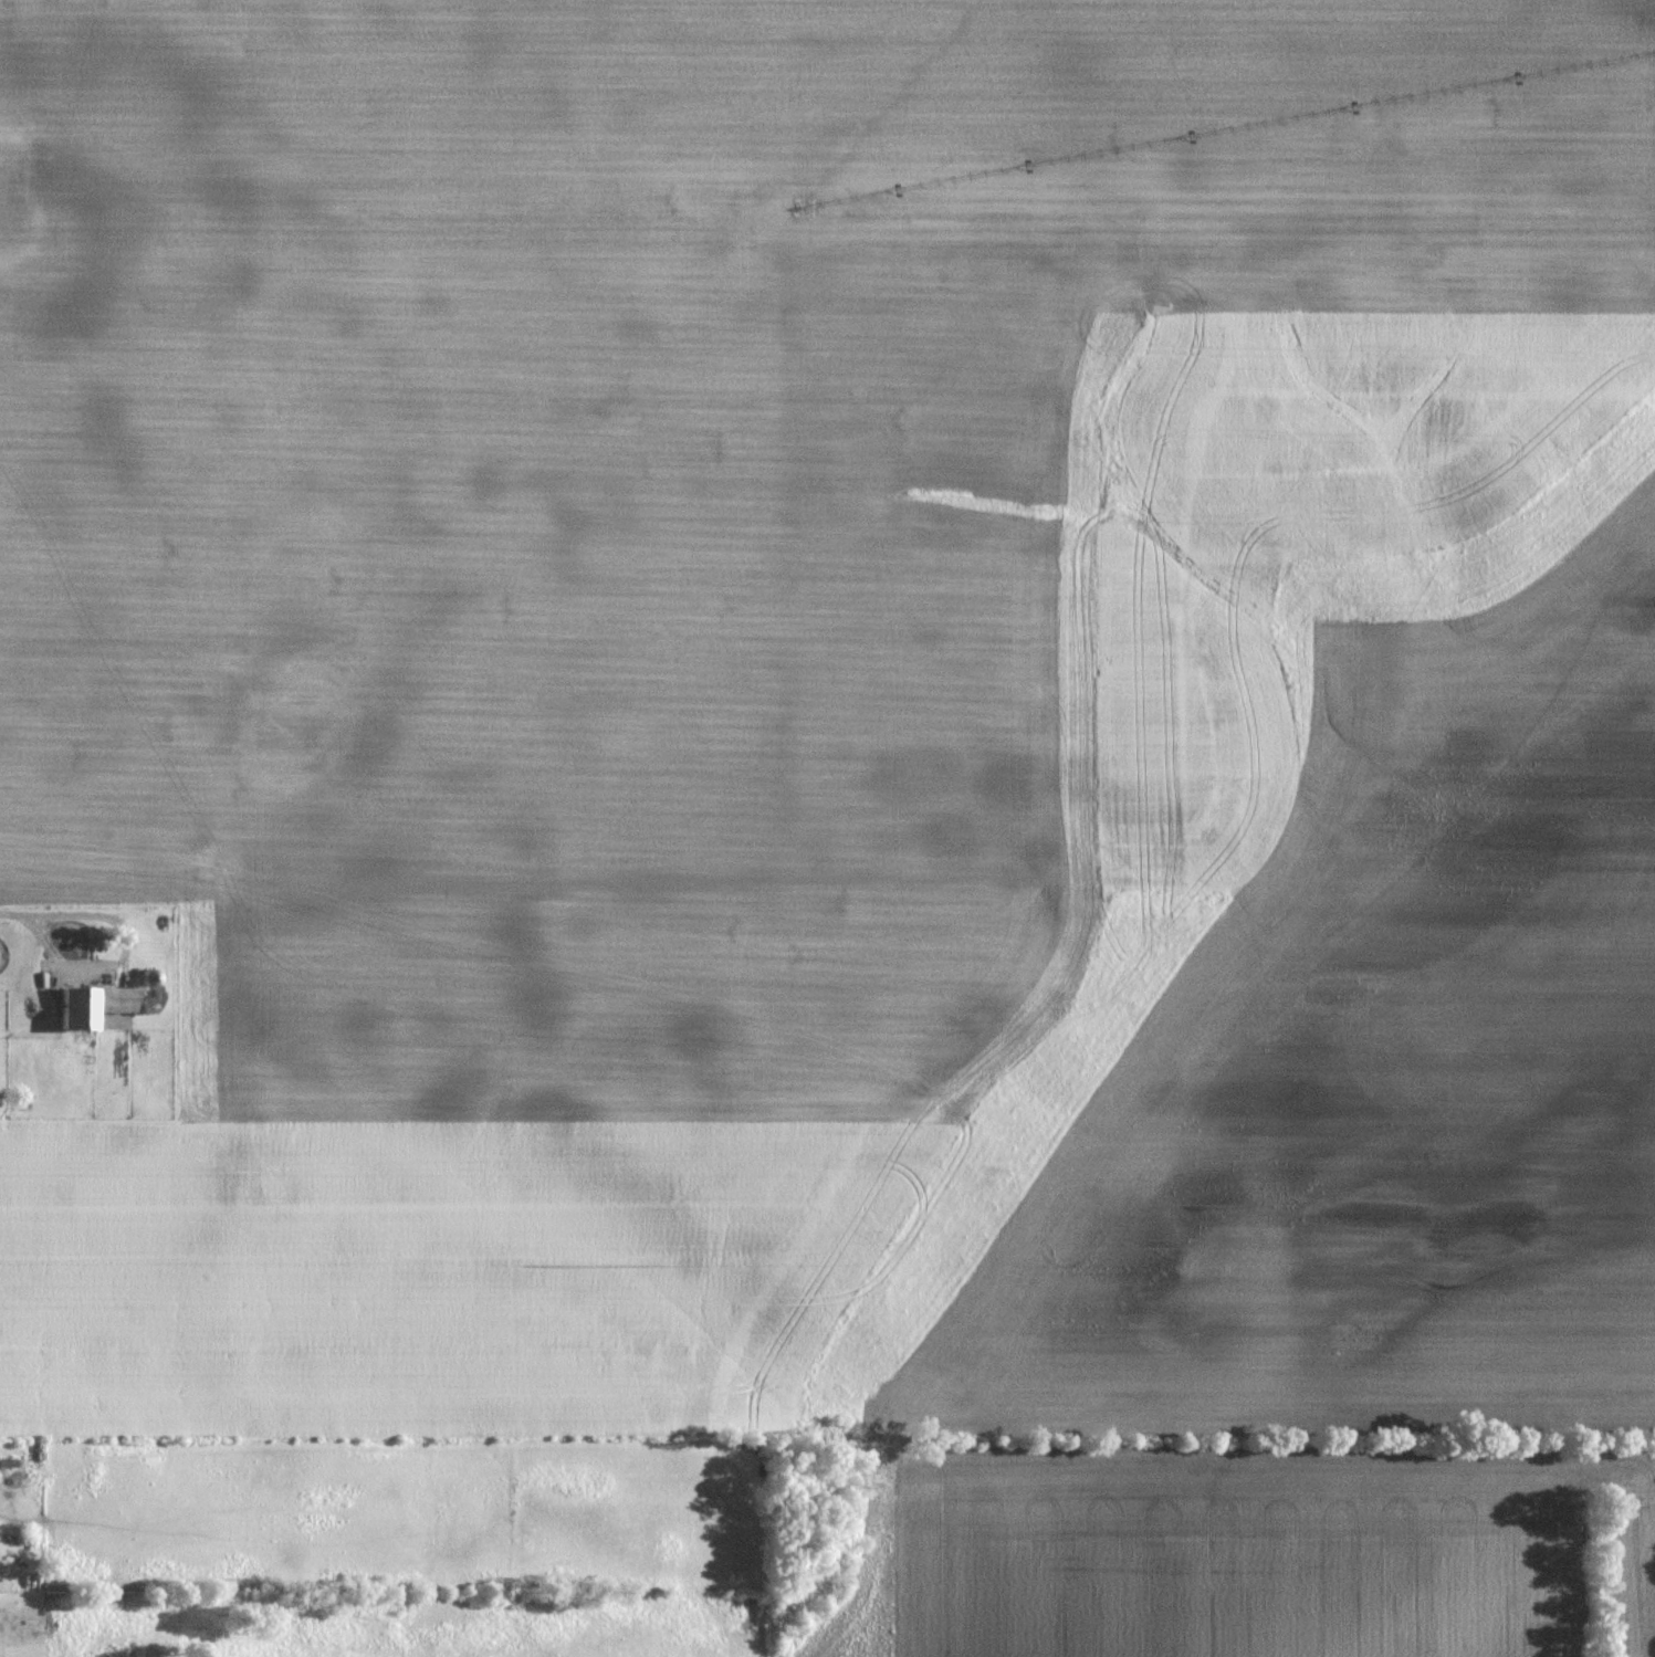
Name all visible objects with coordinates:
road: (15, 908)
road: (133, 944)
building: (146, 977)
building: (86, 1004)

